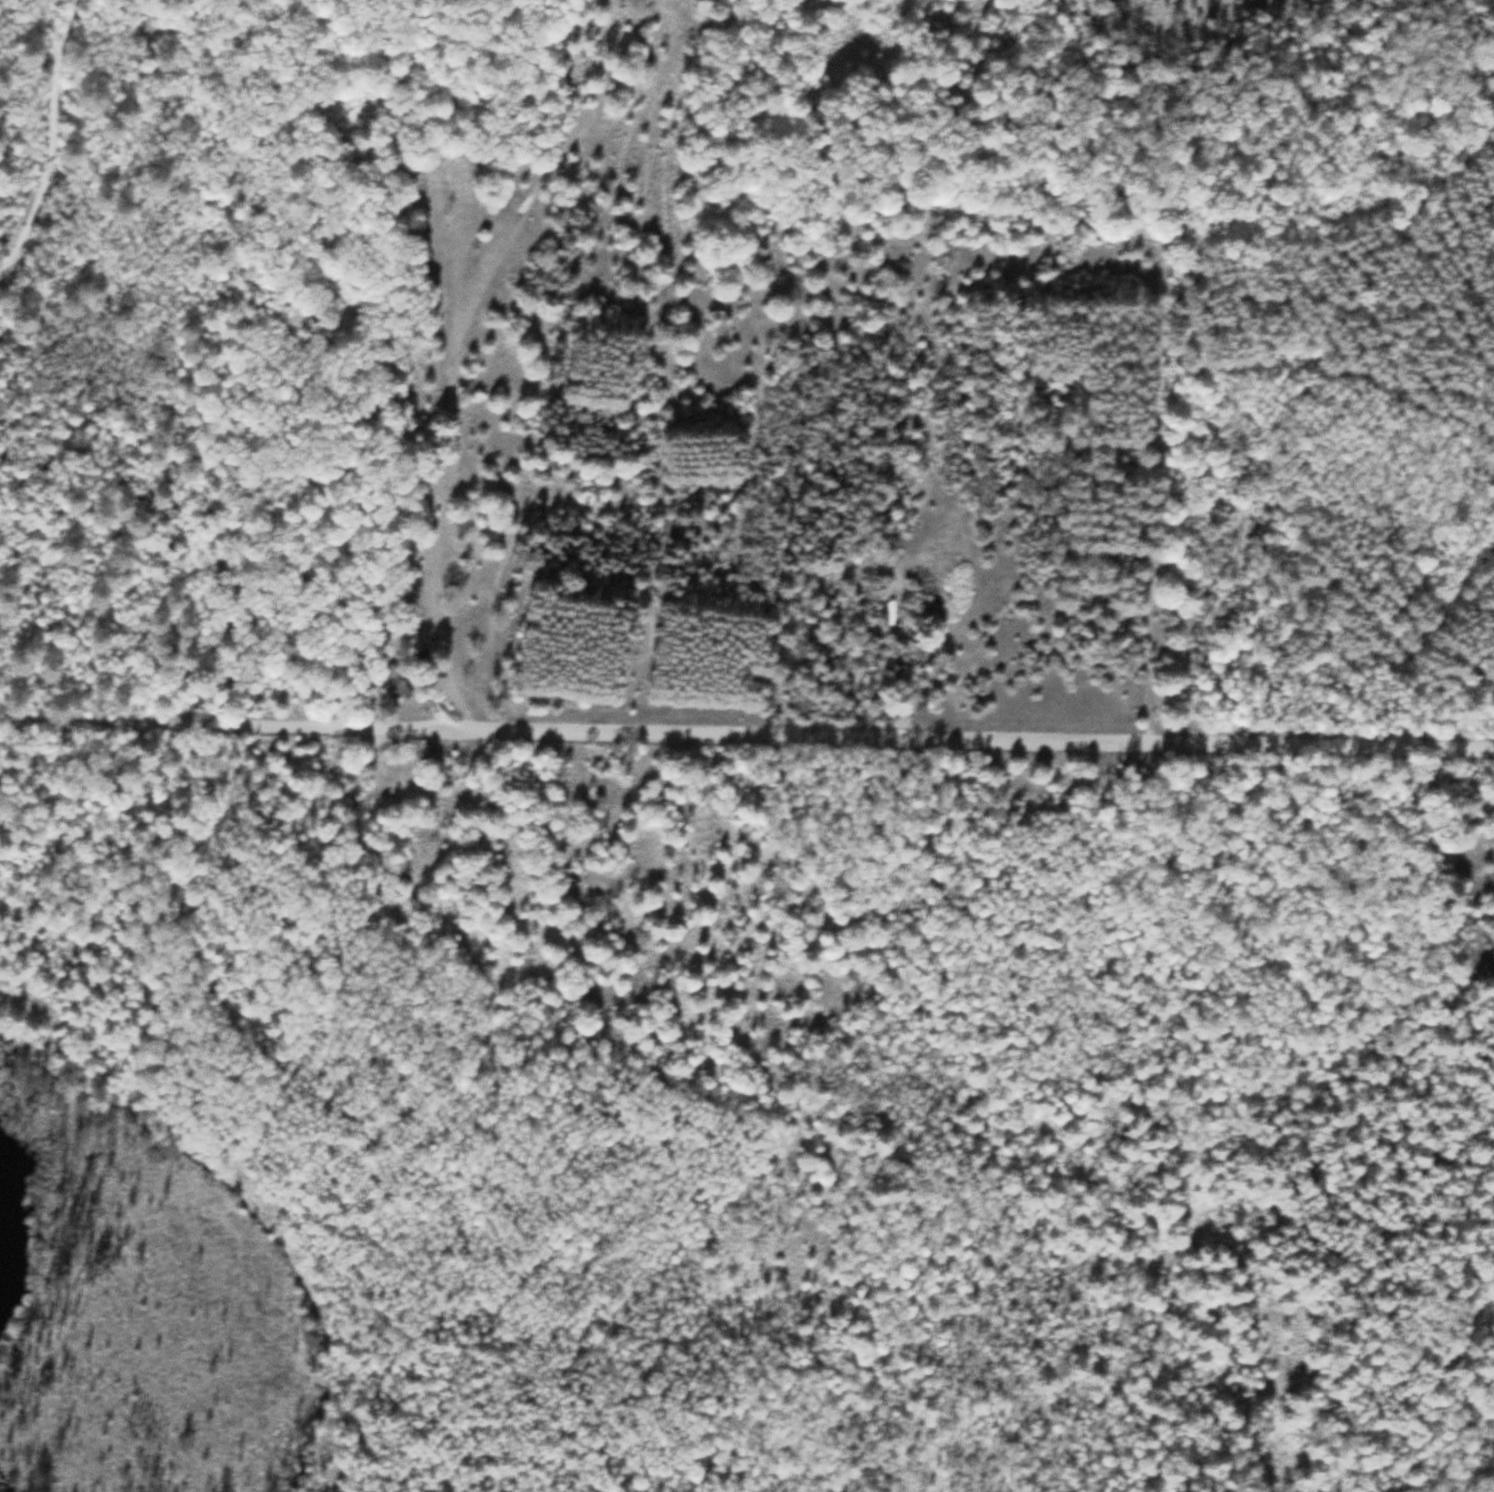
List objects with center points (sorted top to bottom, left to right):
road: (55, 138)
building: (1111, 560)
building: (389, 682)
road: (746, 731)
road: (504, 1150)

